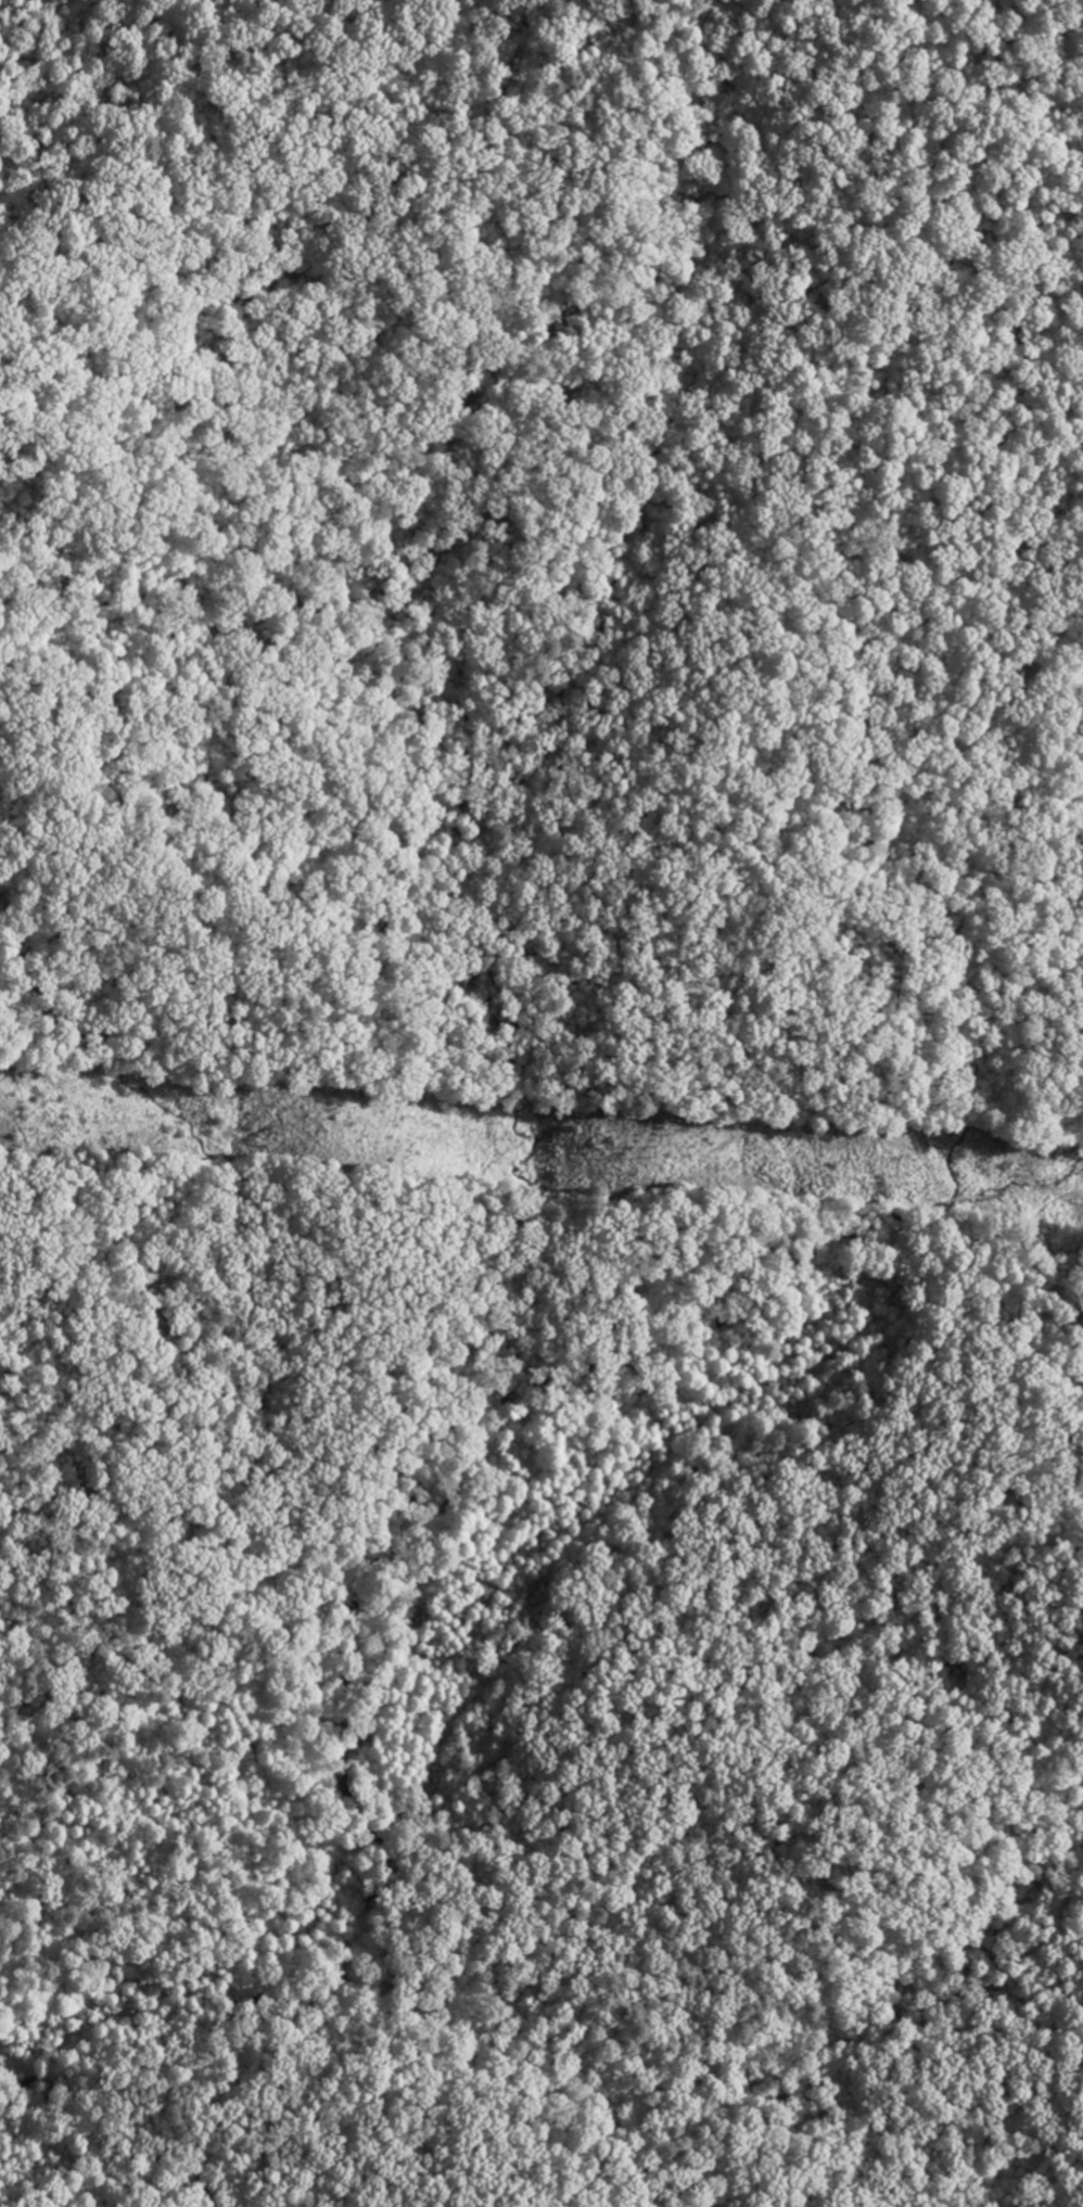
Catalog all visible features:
road: (278, 124)
power tower: (649, 1156)
road: (407, 1778)

